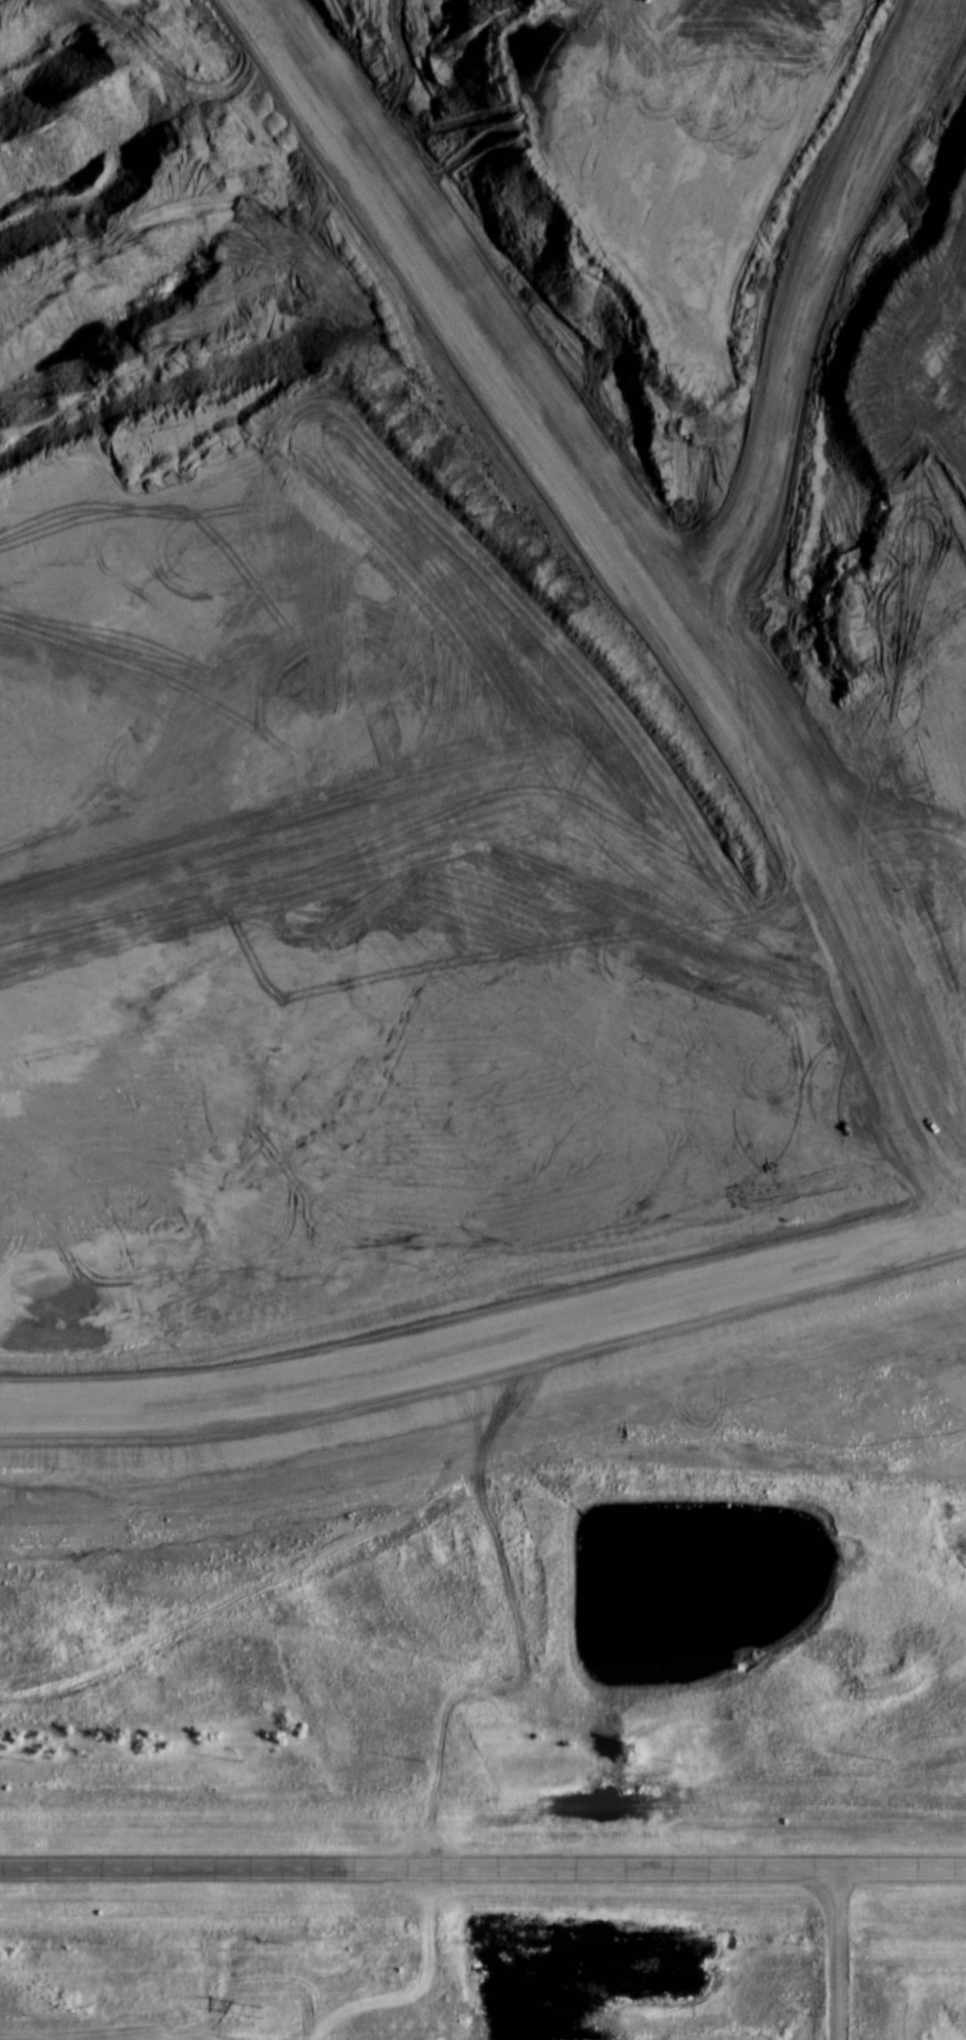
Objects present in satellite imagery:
road: (482, 1867)
road: (837, 1953)
quarry: (468, 2016)

